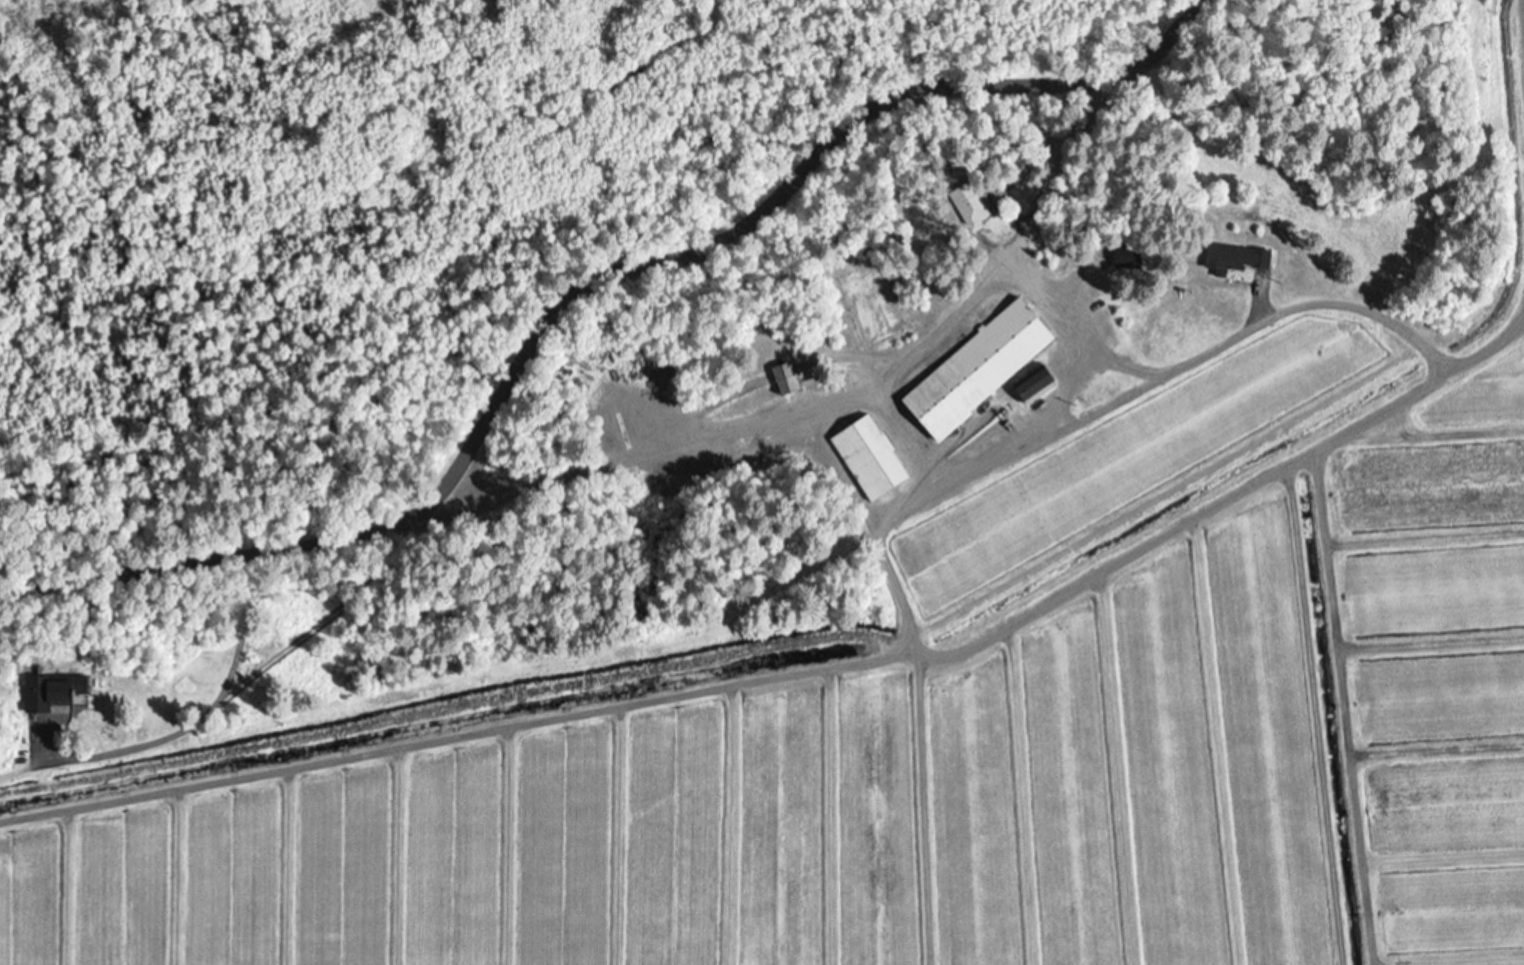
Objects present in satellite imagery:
building: (968, 205)
road: (744, 213)
building: (1234, 258)
road: (1425, 316)
road: (1199, 327)
building: (976, 370)
building: (784, 379)
building: (1033, 386)
road: (646, 446)
building: (868, 458)
road: (213, 550)
road: (1344, 688)
building: (45, 694)
crop: (957, 704)

